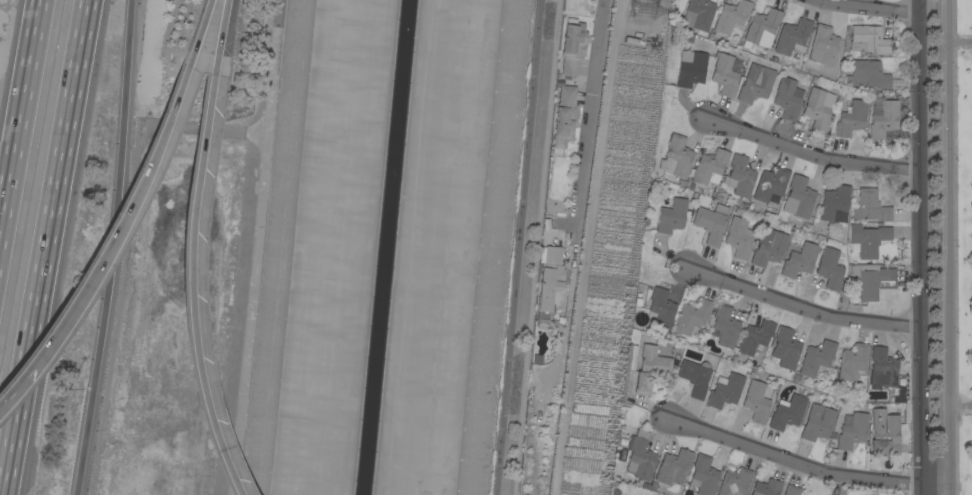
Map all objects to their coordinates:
road: (877, 7)
power tower: (649, 8)
building: (699, 14)
building: (730, 18)
building: (762, 28)
road: (221, 32)
road: (200, 33)
building: (598, 37)
building: (793, 37)
building: (869, 39)
building: (572, 46)
building: (824, 46)
building: (691, 68)
building: (867, 74)
building: (725, 75)
building: (756, 83)
building: (788, 97)
building: (818, 108)
road: (588, 111)
road: (19, 116)
building: (852, 118)
building: (564, 119)
building: (883, 119)
road: (813, 155)
building: (676, 157)
building: (710, 167)
building: (740, 176)
building: (771, 185)
building: (798, 197)
building: (835, 204)
building: (871, 206)
building: (672, 216)
road: (121, 219)
building: (711, 223)
building: (739, 238)
building: (868, 239)
road: (43, 247)
river: (385, 247)
road: (517, 247)
road: (536, 247)
road: (921, 247)
road: (945, 247)
road: (113, 248)
building: (769, 248)
building: (799, 260)
building: (831, 268)
building: (550, 277)
building: (872, 280)
road: (190, 282)
road: (803, 306)
building: (661, 309)
building: (692, 316)
building: (725, 326)
building: (756, 336)
building: (786, 348)
building: (817, 357)
building: (853, 362)
building: (651, 368)
building: (883, 368)
building: (695, 377)
road: (17, 382)
building: (725, 390)
building: (757, 402)
building: (787, 412)
building: (818, 423)
building: (852, 430)
building: (884, 434)
building: (639, 459)
road: (807, 464)
building: (586, 465)
building: (673, 467)
building: (703, 475)
building: (735, 482)
building: (766, 487)
building: (791, 490)
building: (565, 494)

